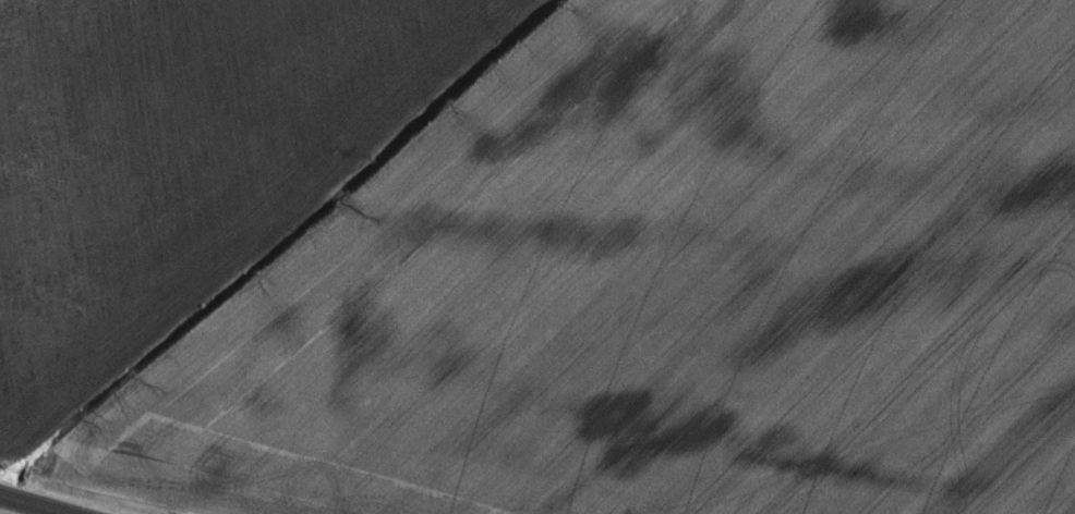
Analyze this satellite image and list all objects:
road: (36, 503)

